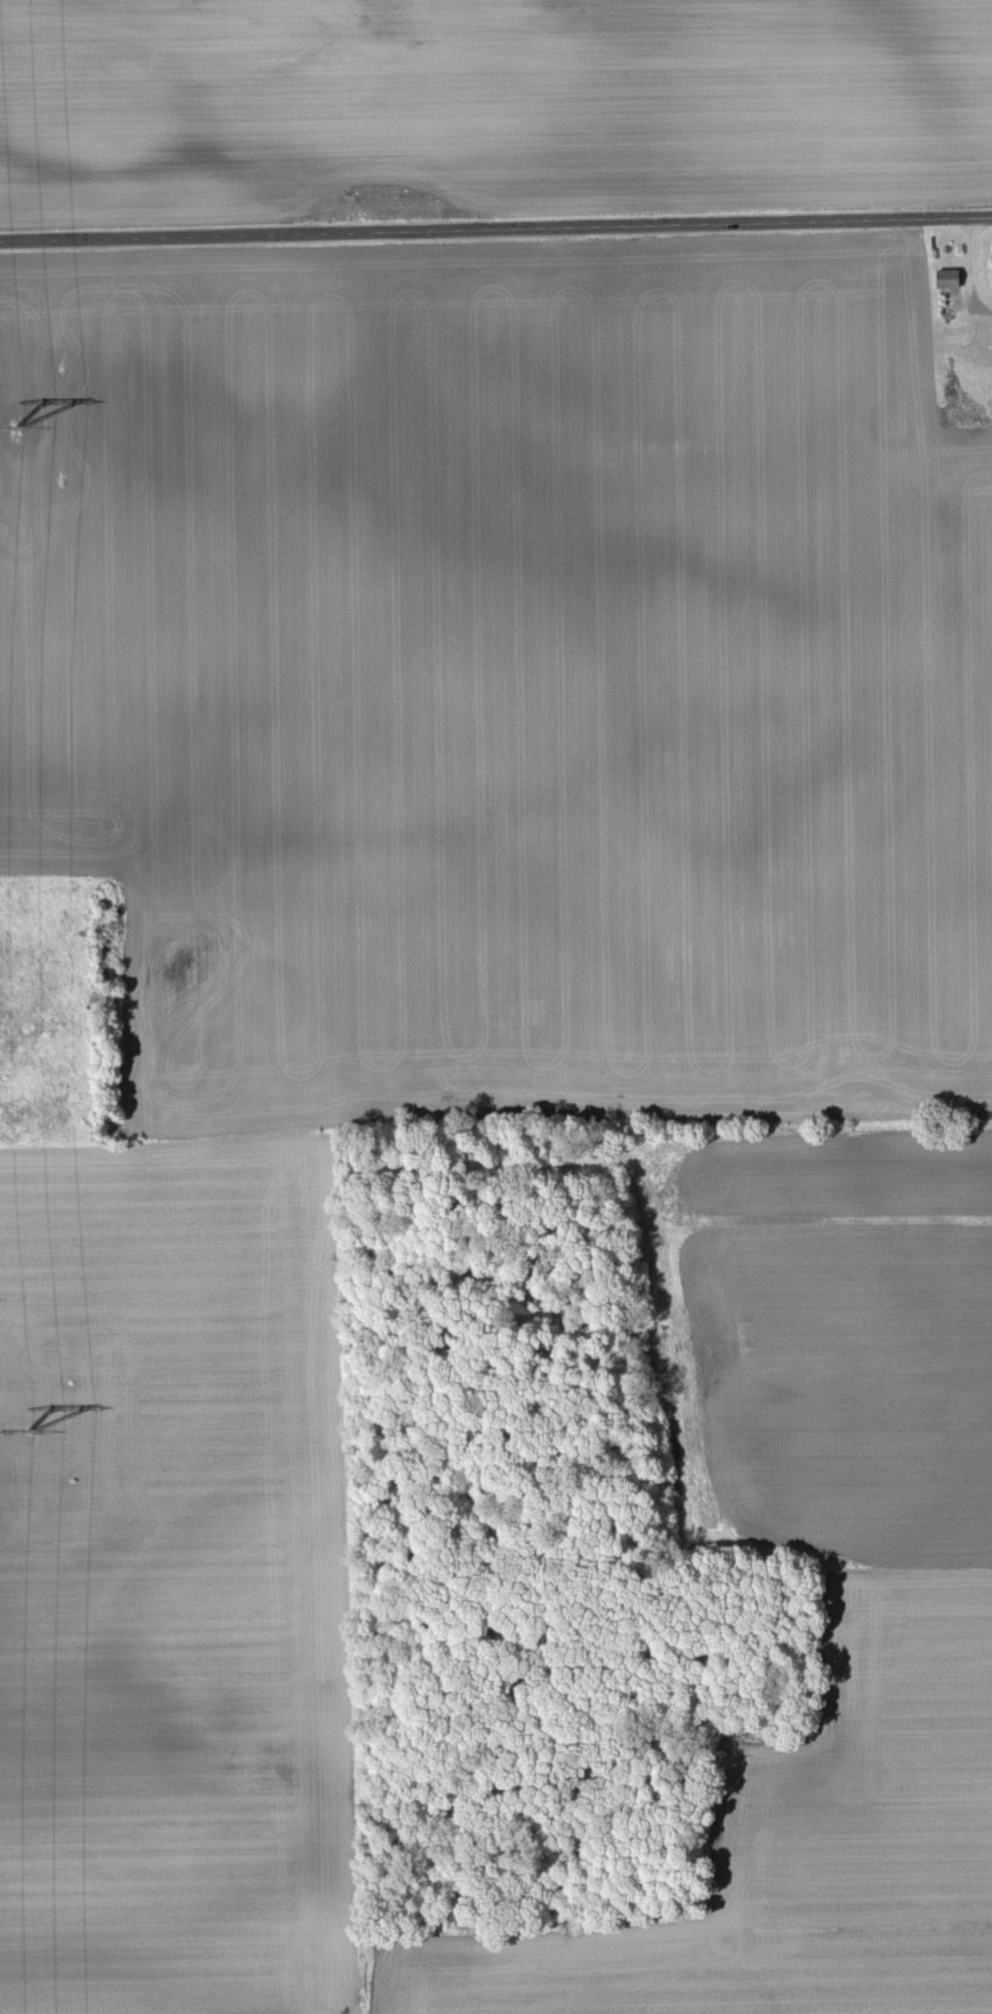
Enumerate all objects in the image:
road: (495, 229)
road: (977, 265)
building: (952, 279)
building: (973, 337)
power tower: (17, 426)
power tower: (29, 1430)

